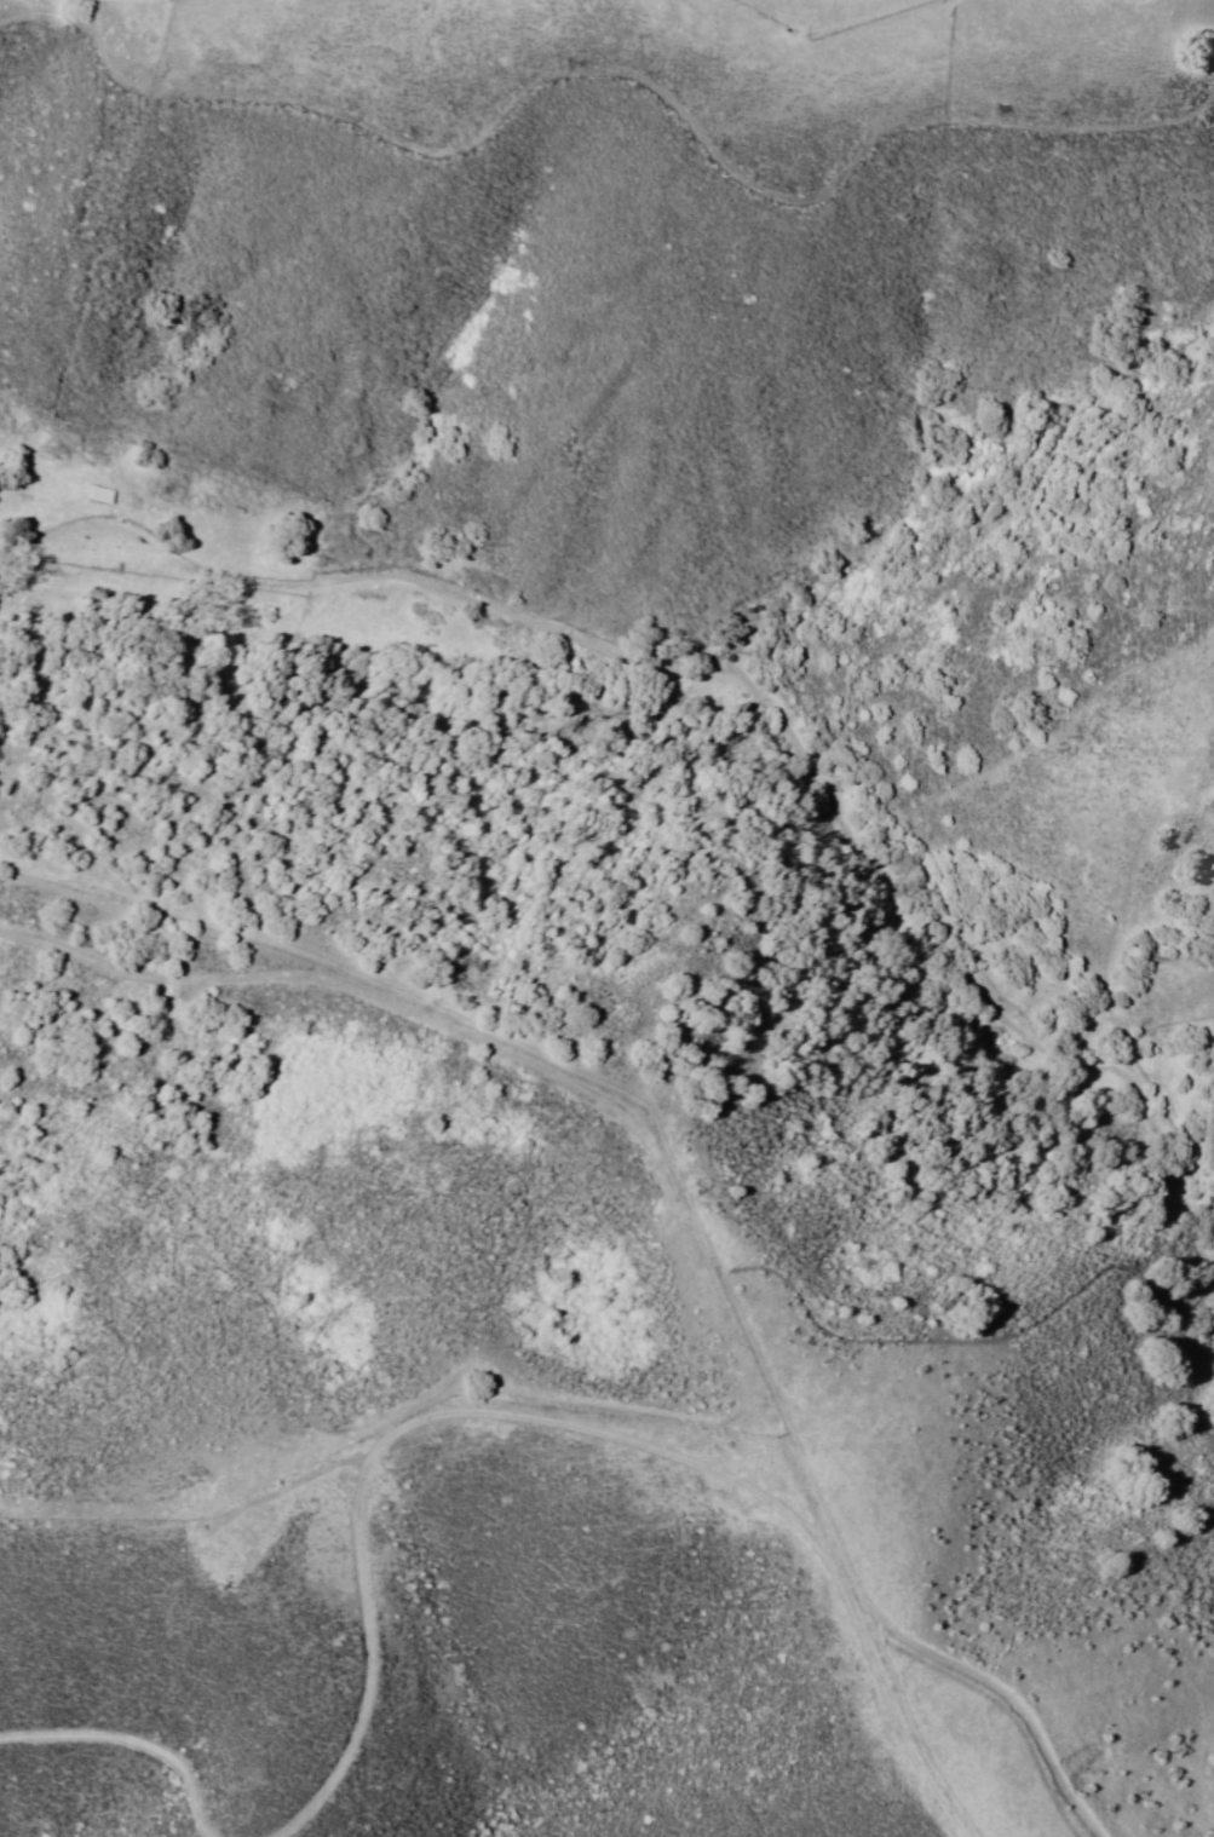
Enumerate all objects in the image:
building: (100, 496)
road: (606, 1427)
road: (132, 1740)

